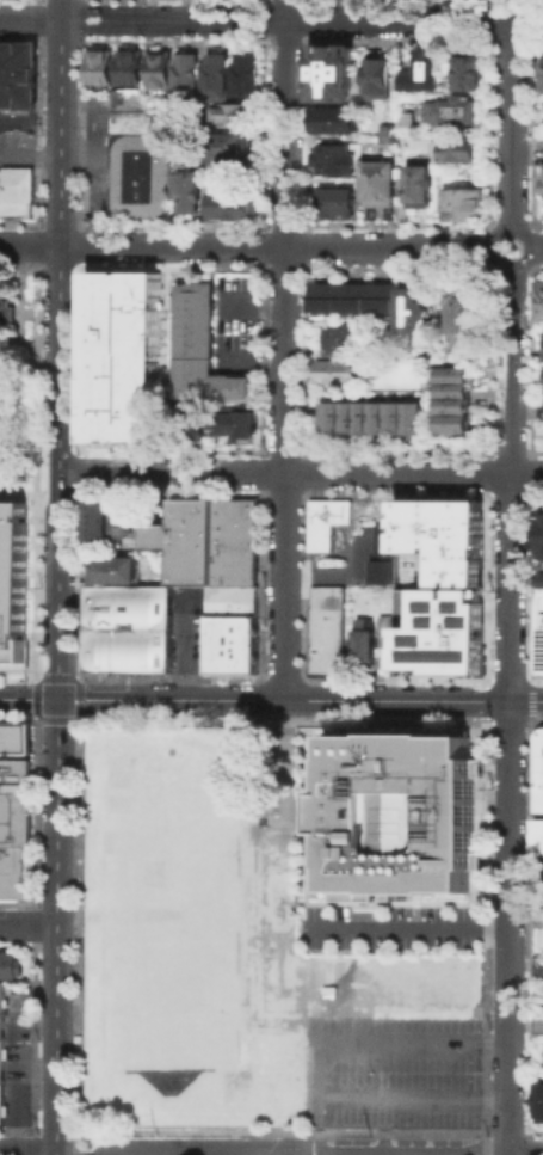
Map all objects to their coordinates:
road: (88, 10)
road: (339, 10)
road: (514, 11)
road: (30, 18)
road: (328, 20)
road: (88, 29)
building: (20, 53)
building: (103, 66)
building: (132, 66)
building: (162, 68)
building: (541, 69)
building: (338, 70)
building: (468, 70)
building: (424, 73)
building: (189, 74)
building: (248, 74)
building: (218, 75)
building: (381, 78)
building: (20, 86)
building: (131, 99)
building: (451, 112)
building: (234, 113)
building: (339, 121)
road: (30, 123)
road: (512, 123)
building: (388, 131)
building: (230, 147)
building: (457, 148)
road: (53, 153)
road: (105, 164)
building: (144, 164)
building: (338, 164)
building: (383, 182)
building: (419, 188)
building: (190, 189)
building: (17, 190)
building: (337, 203)
building: (461, 203)
building: (234, 205)
road: (512, 226)
road: (30, 242)
road: (274, 244)
road: (537, 246)
building: (357, 301)
building: (541, 301)
road: (259, 302)
building: (6, 311)
building: (414, 311)
building: (465, 312)
parking lot: (235, 322)
building: (338, 337)
building: (542, 345)
building: (204, 348)
road: (58, 349)
road: (284, 350)
building: (125, 354)
road: (259, 360)
building: (339, 371)
building: (452, 399)
building: (14, 406)
building: (370, 418)
building: (237, 423)
building: (191, 425)
road: (29, 471)
road: (300, 471)
building: (127, 517)
building: (227, 520)
building: (248, 520)
building: (100, 521)
building: (329, 522)
building: (442, 536)
building: (542, 536)
building: (190, 540)
building: (380, 554)
building: (237, 563)
building: (115, 570)
building: (542, 580)
building: (14, 584)
building: (235, 601)
building: (385, 622)
building: (94, 629)
building: (112, 629)
building: (129, 629)
building: (147, 629)
building: (163, 629)
building: (329, 631)
building: (442, 632)
building: (249, 633)
building: (539, 635)
building: (226, 637)
building: (363, 639)
road: (186, 646)
building: (248, 662)
building: (222, 663)
traffic signals: (57, 700)
road: (271, 700)
road: (510, 709)
building: (16, 739)
building: (537, 770)
building: (393, 817)
building: (13, 828)
building: (538, 835)
road: (27, 924)
parking lot: (389, 926)
road: (56, 927)
road: (409, 928)
park: (282, 939)
building: (11, 964)
building: (537, 965)
building: (1, 1050)
road: (314, 1071)
parking lot: (395, 1073)
building: (539, 1102)
road: (314, 1126)
road: (27, 1151)
road: (282, 1153)
road: (525, 1153)

